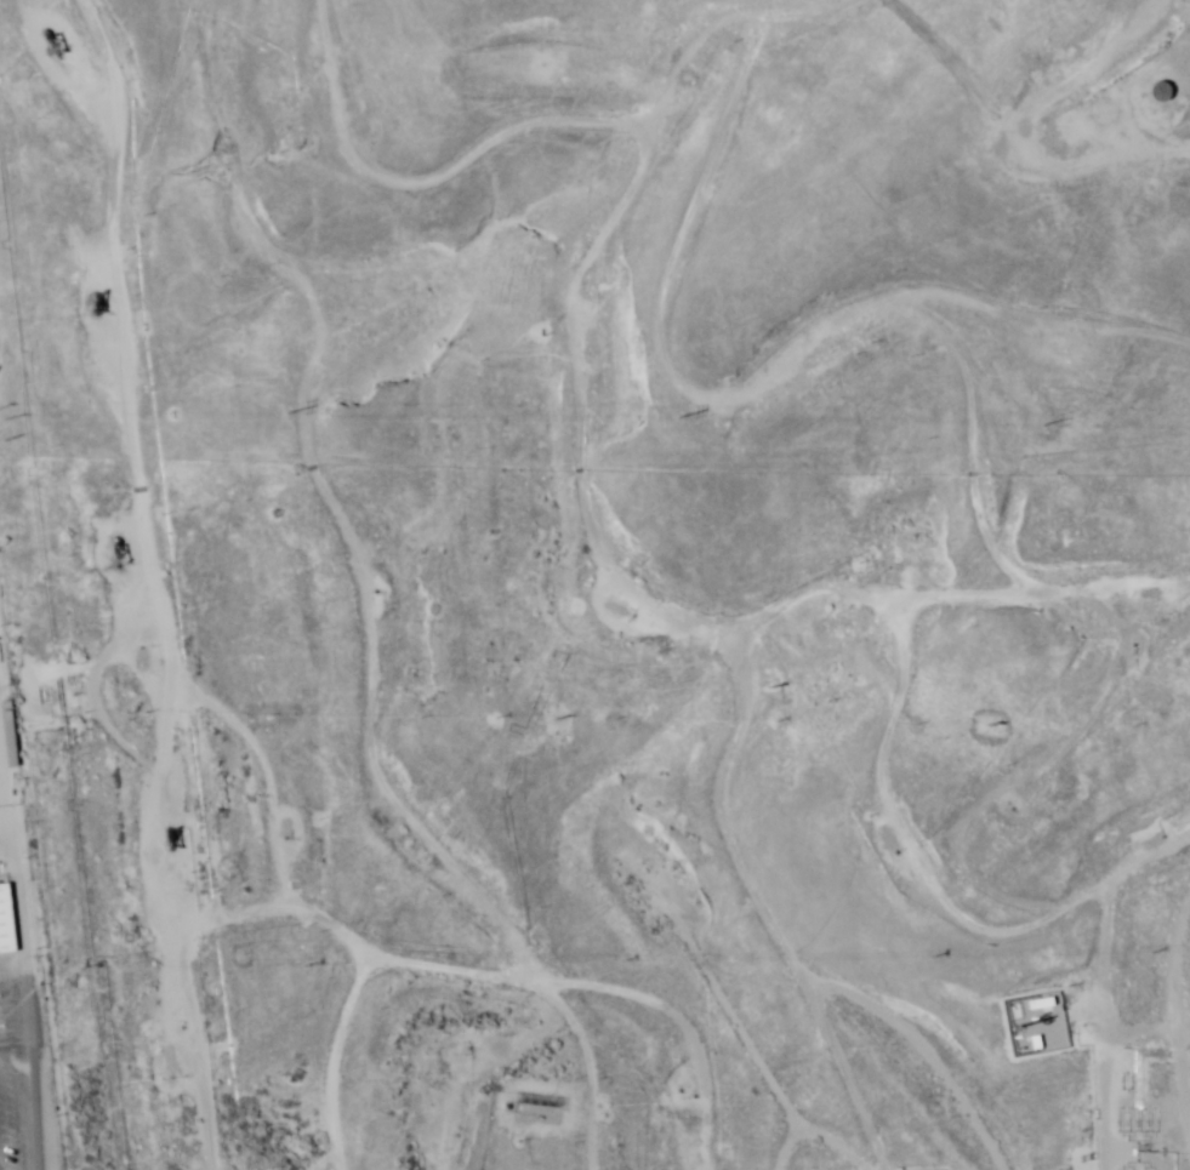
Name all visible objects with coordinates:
road: (1121, 55)
building: (1158, 95)
road: (1117, 126)
road: (610, 149)
road: (933, 358)
road: (74, 580)
road: (985, 586)
road: (353, 610)
road: (653, 672)
road: (8, 823)
road: (953, 885)
road: (28, 925)
road: (699, 936)
building: (6, 938)
road: (376, 1016)
road: (870, 1022)
road: (1160, 1033)
road: (657, 1055)
road: (685, 1152)

